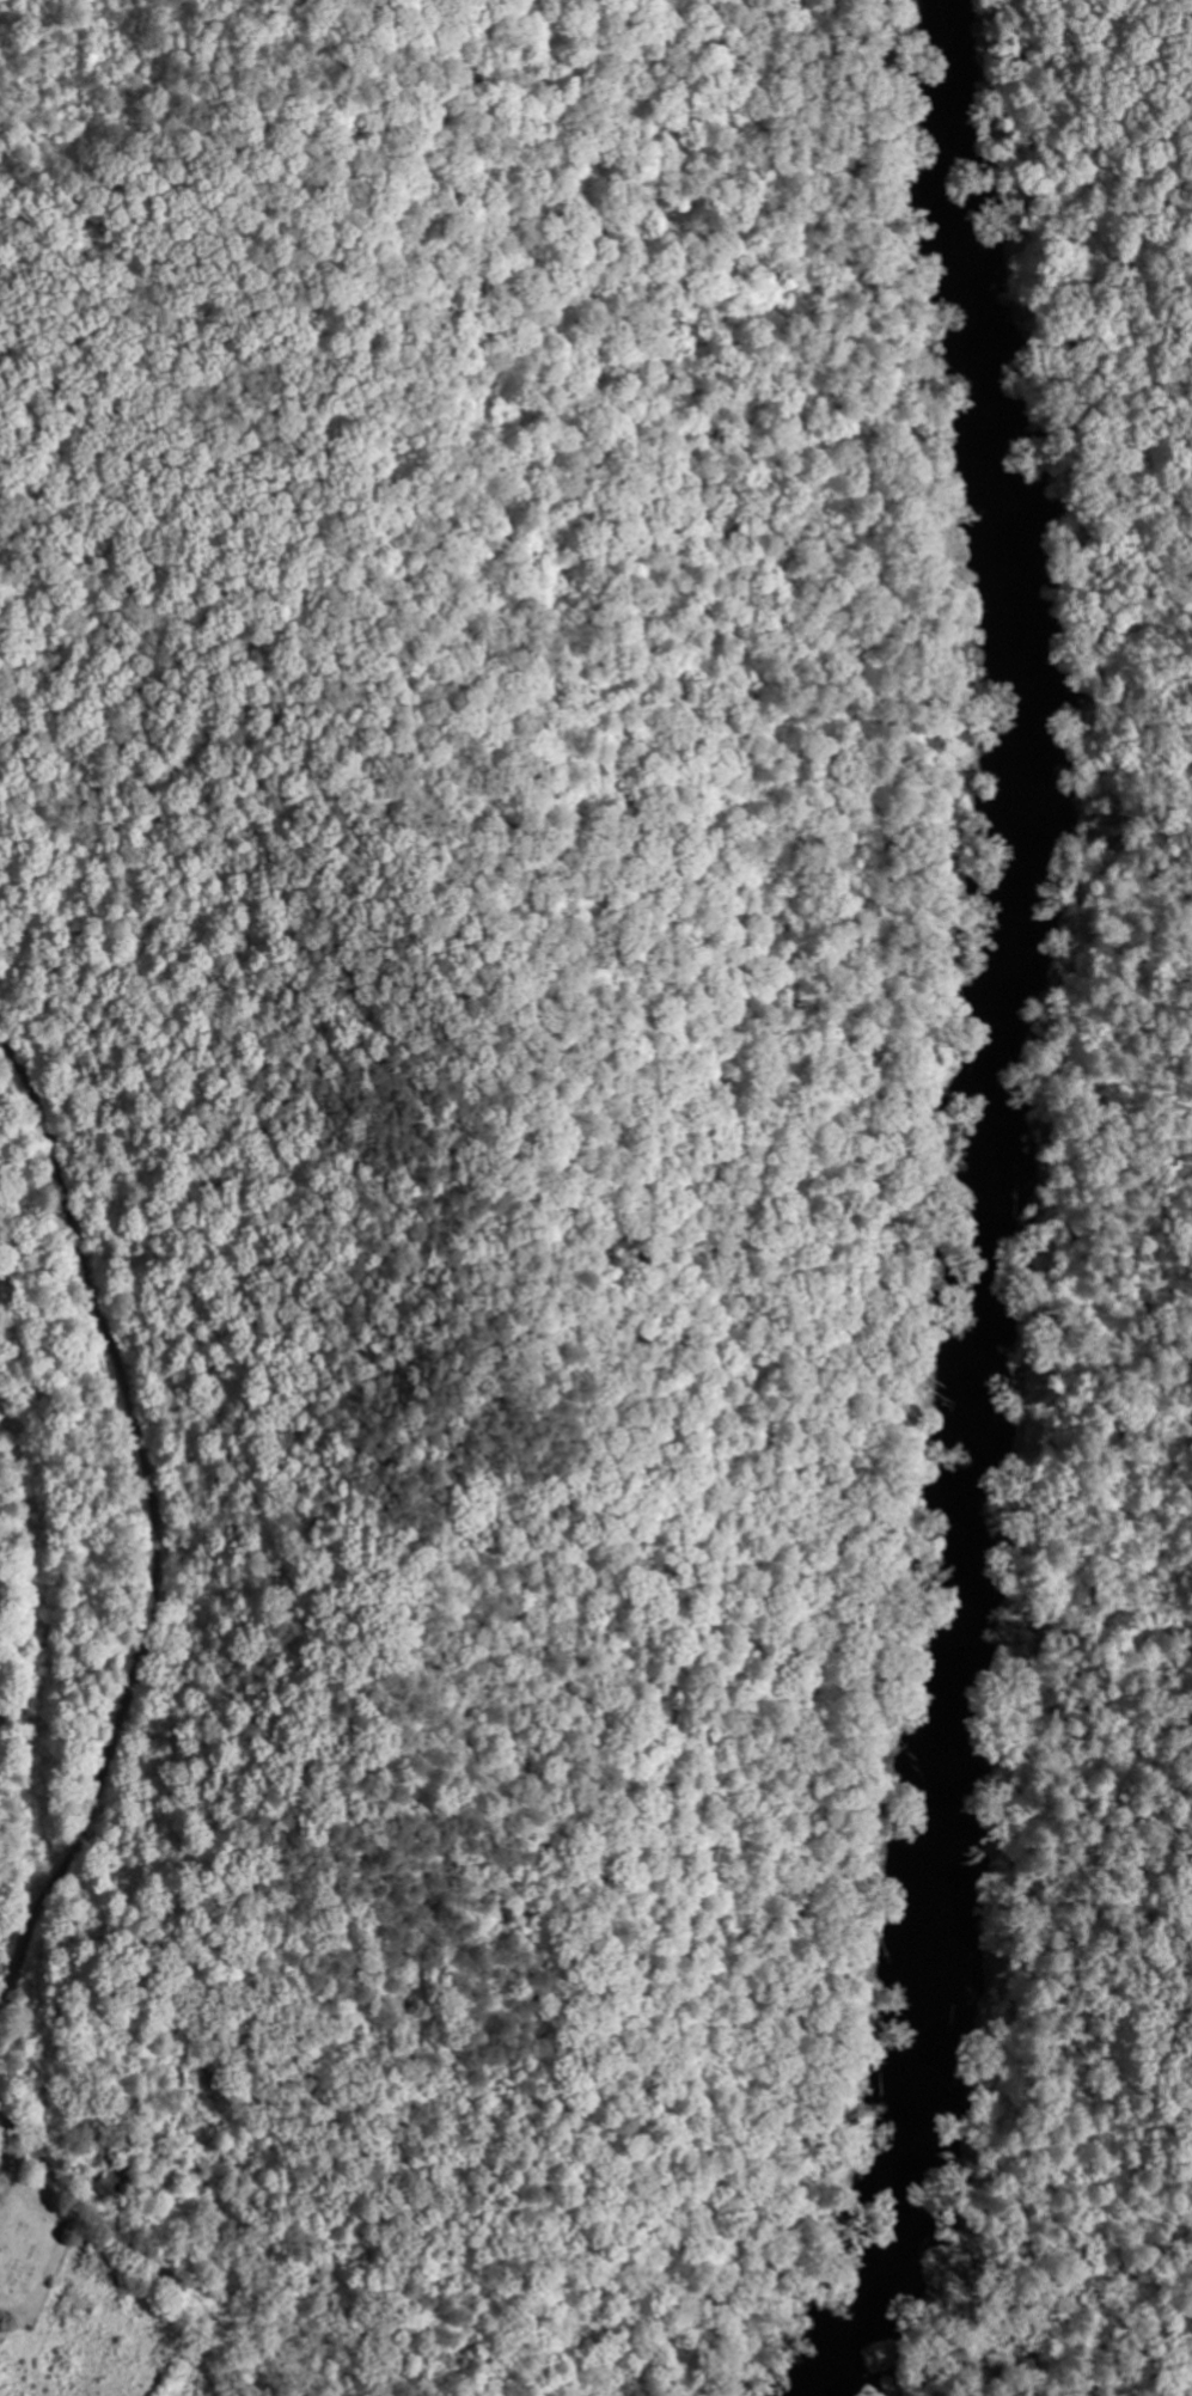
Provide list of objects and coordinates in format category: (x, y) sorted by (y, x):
road: (1145, 1194)
river: (989, 1208)
road: (158, 1532)
road: (91, 2211)
park: (27, 2237)

